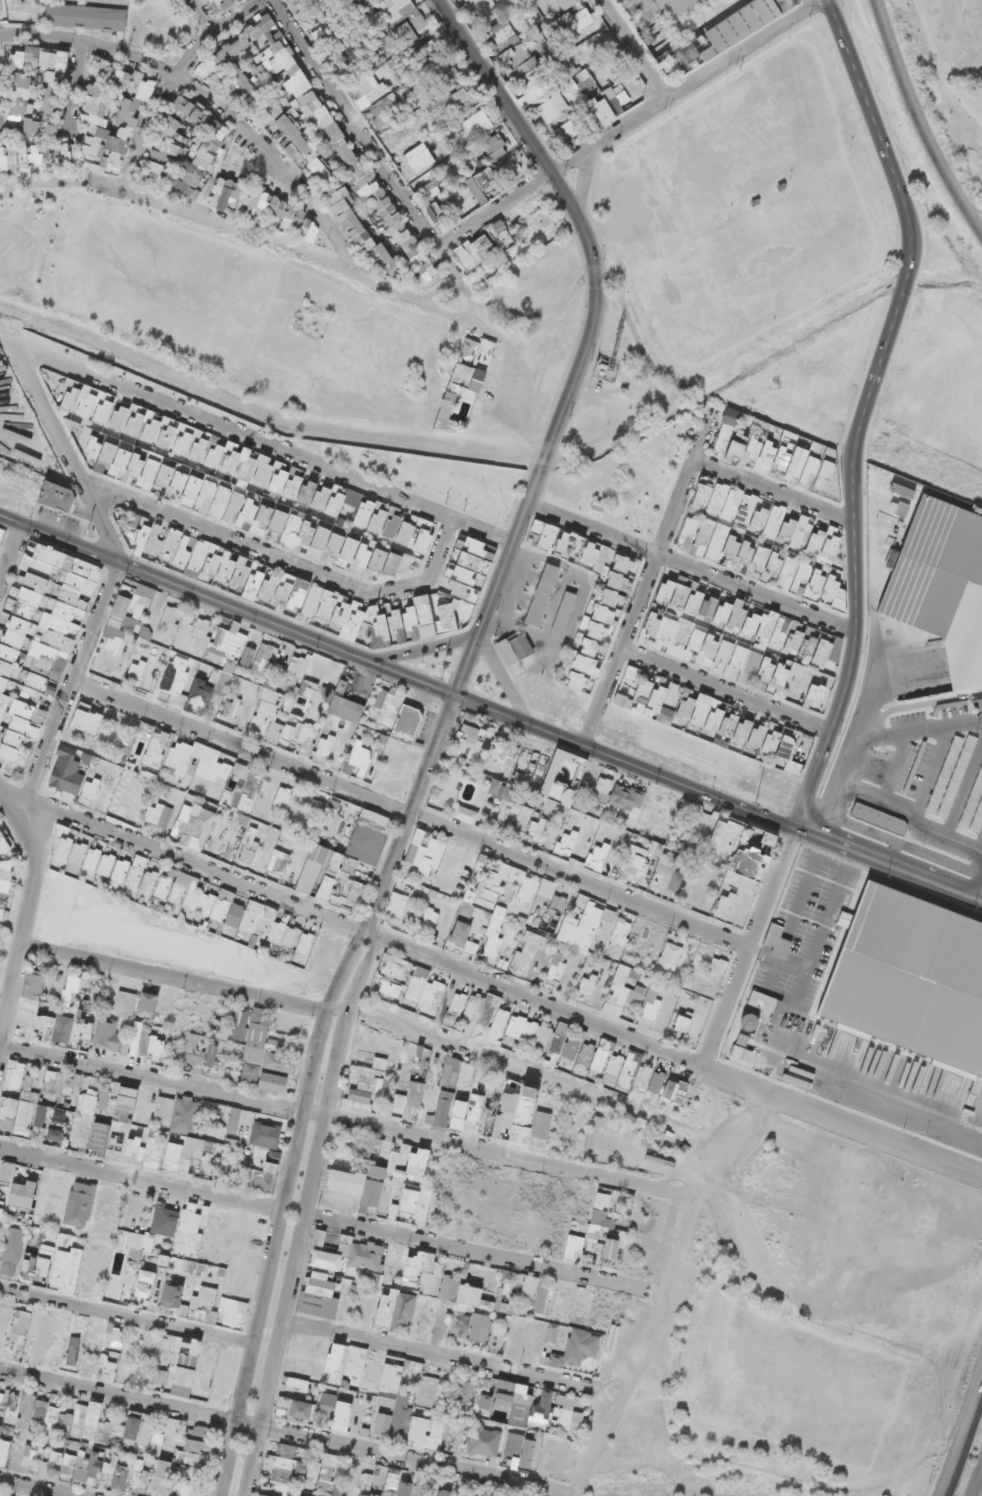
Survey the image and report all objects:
road: (961, 1432)
road: (975, 1477)

